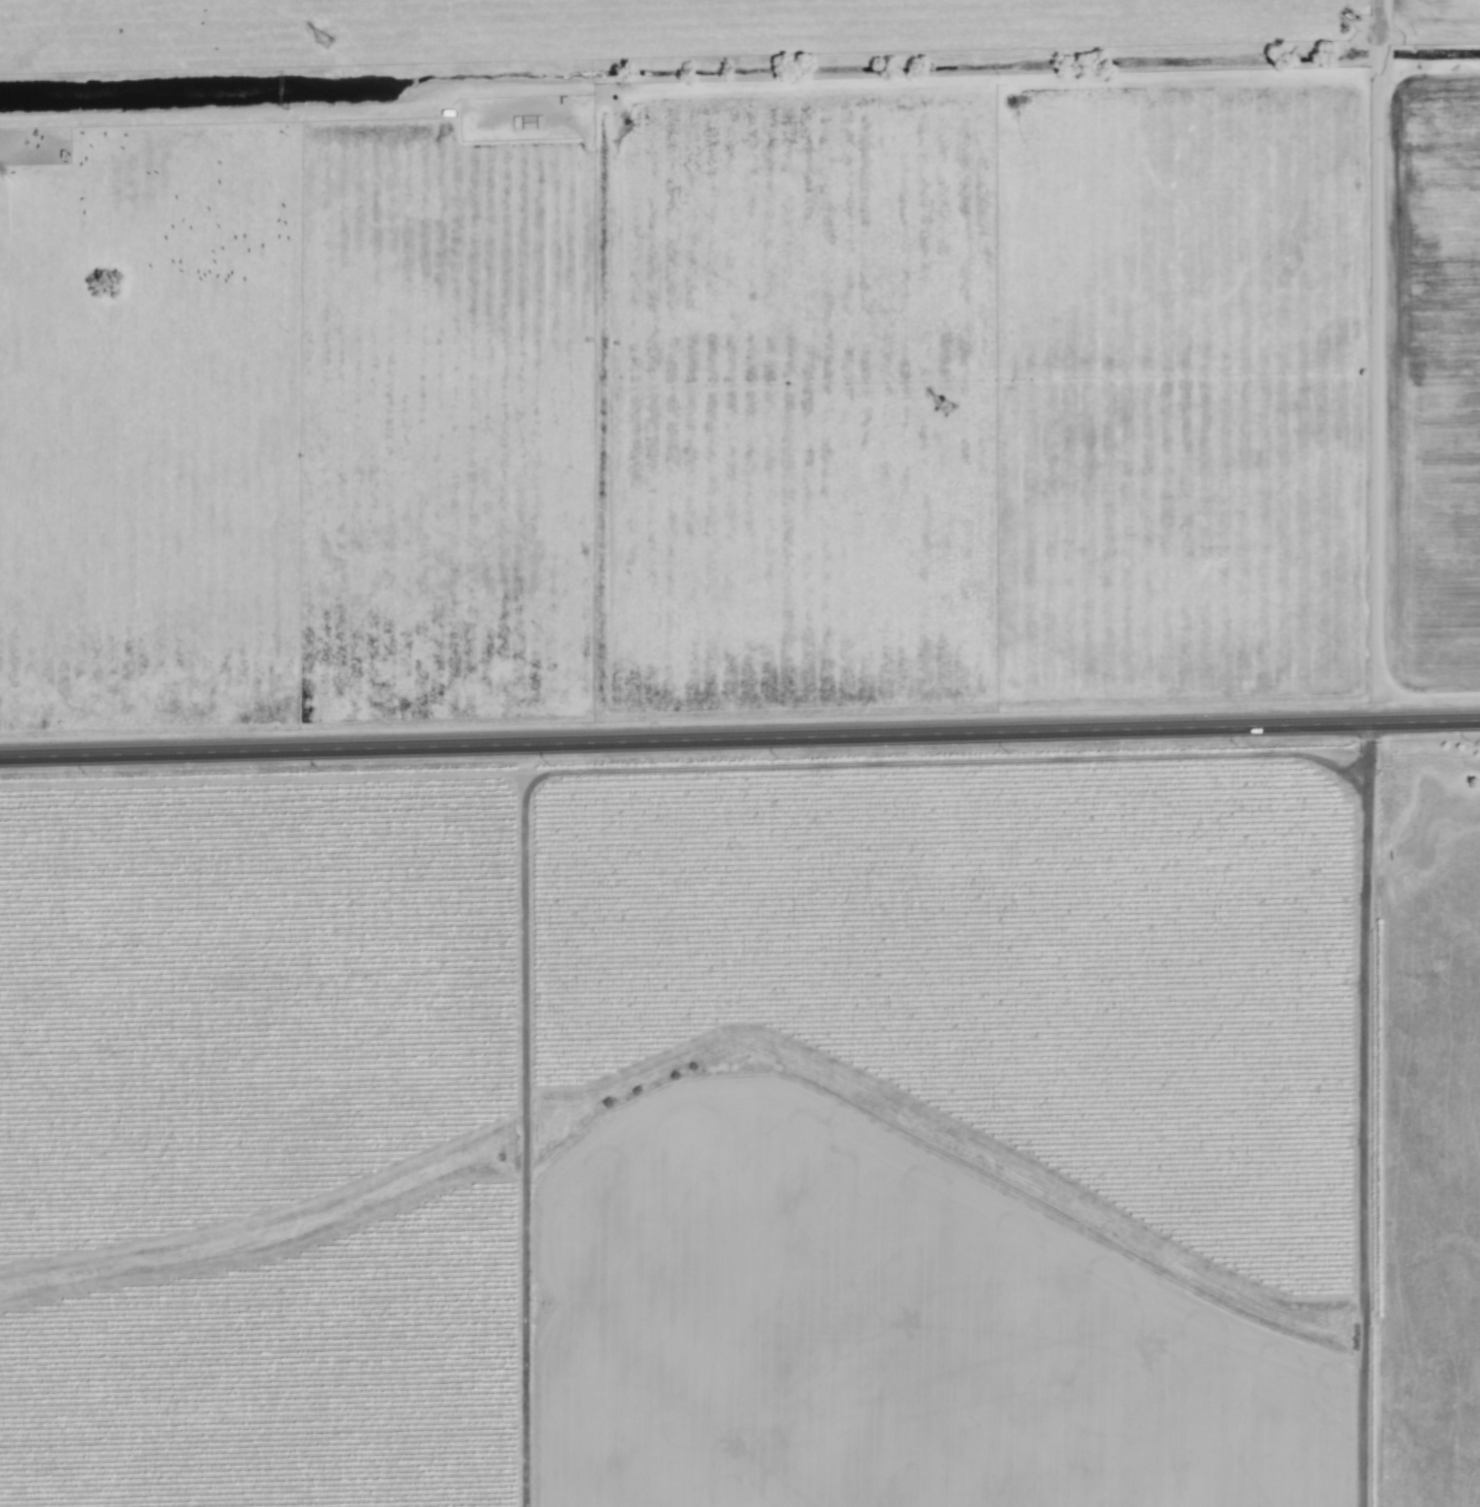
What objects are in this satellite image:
power tower: (324, 36)
power tower: (948, 407)
road: (740, 729)

